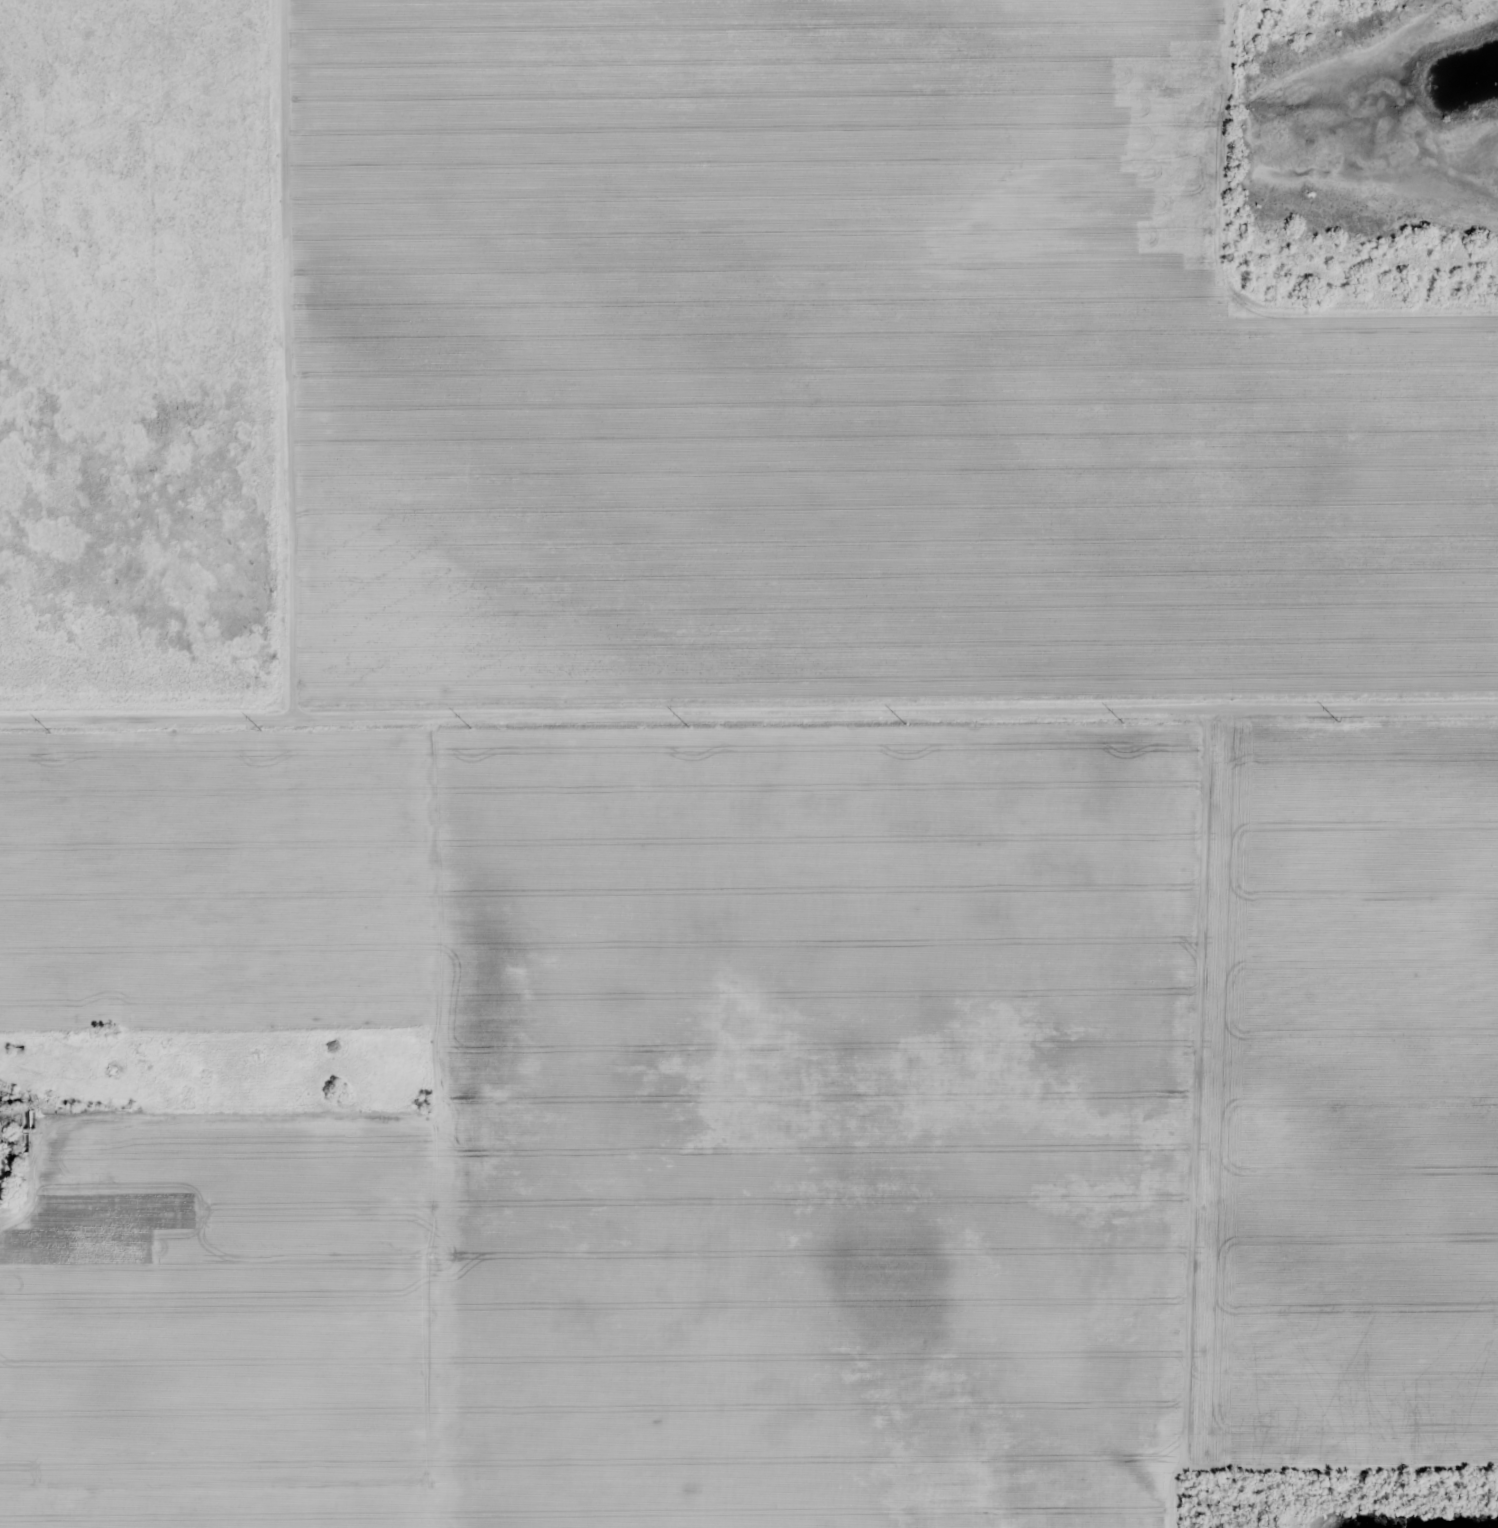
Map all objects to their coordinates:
road: (285, 356)
road: (749, 705)
road: (1143, 1114)

